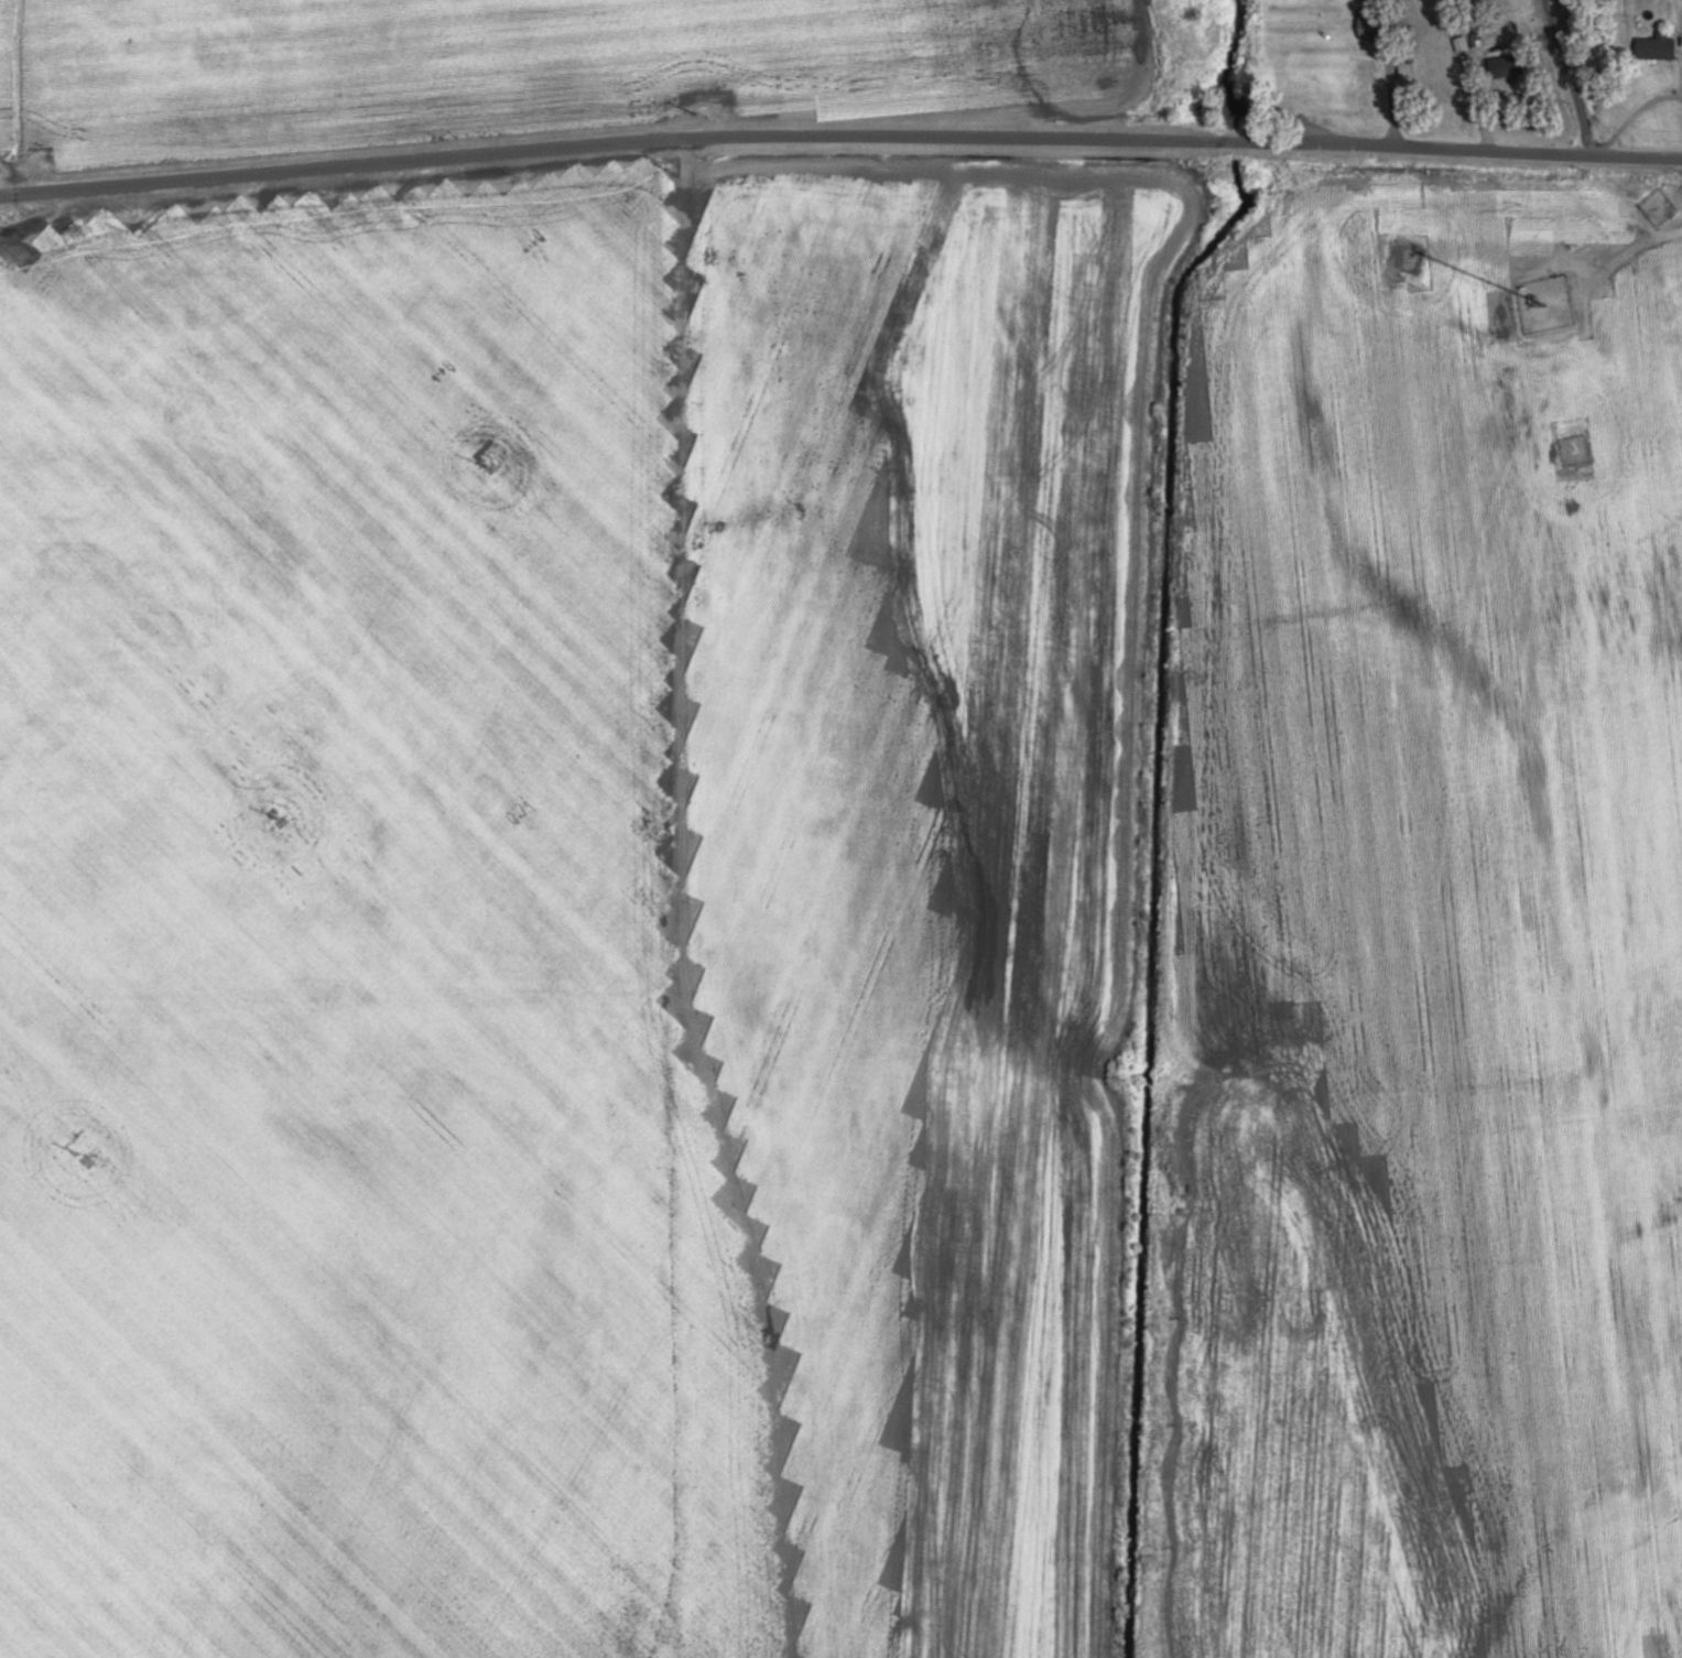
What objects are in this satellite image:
building: (1372, 23)
building: (1657, 47)
building: (1508, 66)
road: (1441, 74)
road: (1569, 77)
road: (1630, 105)
road: (839, 136)
road: (660, 886)

